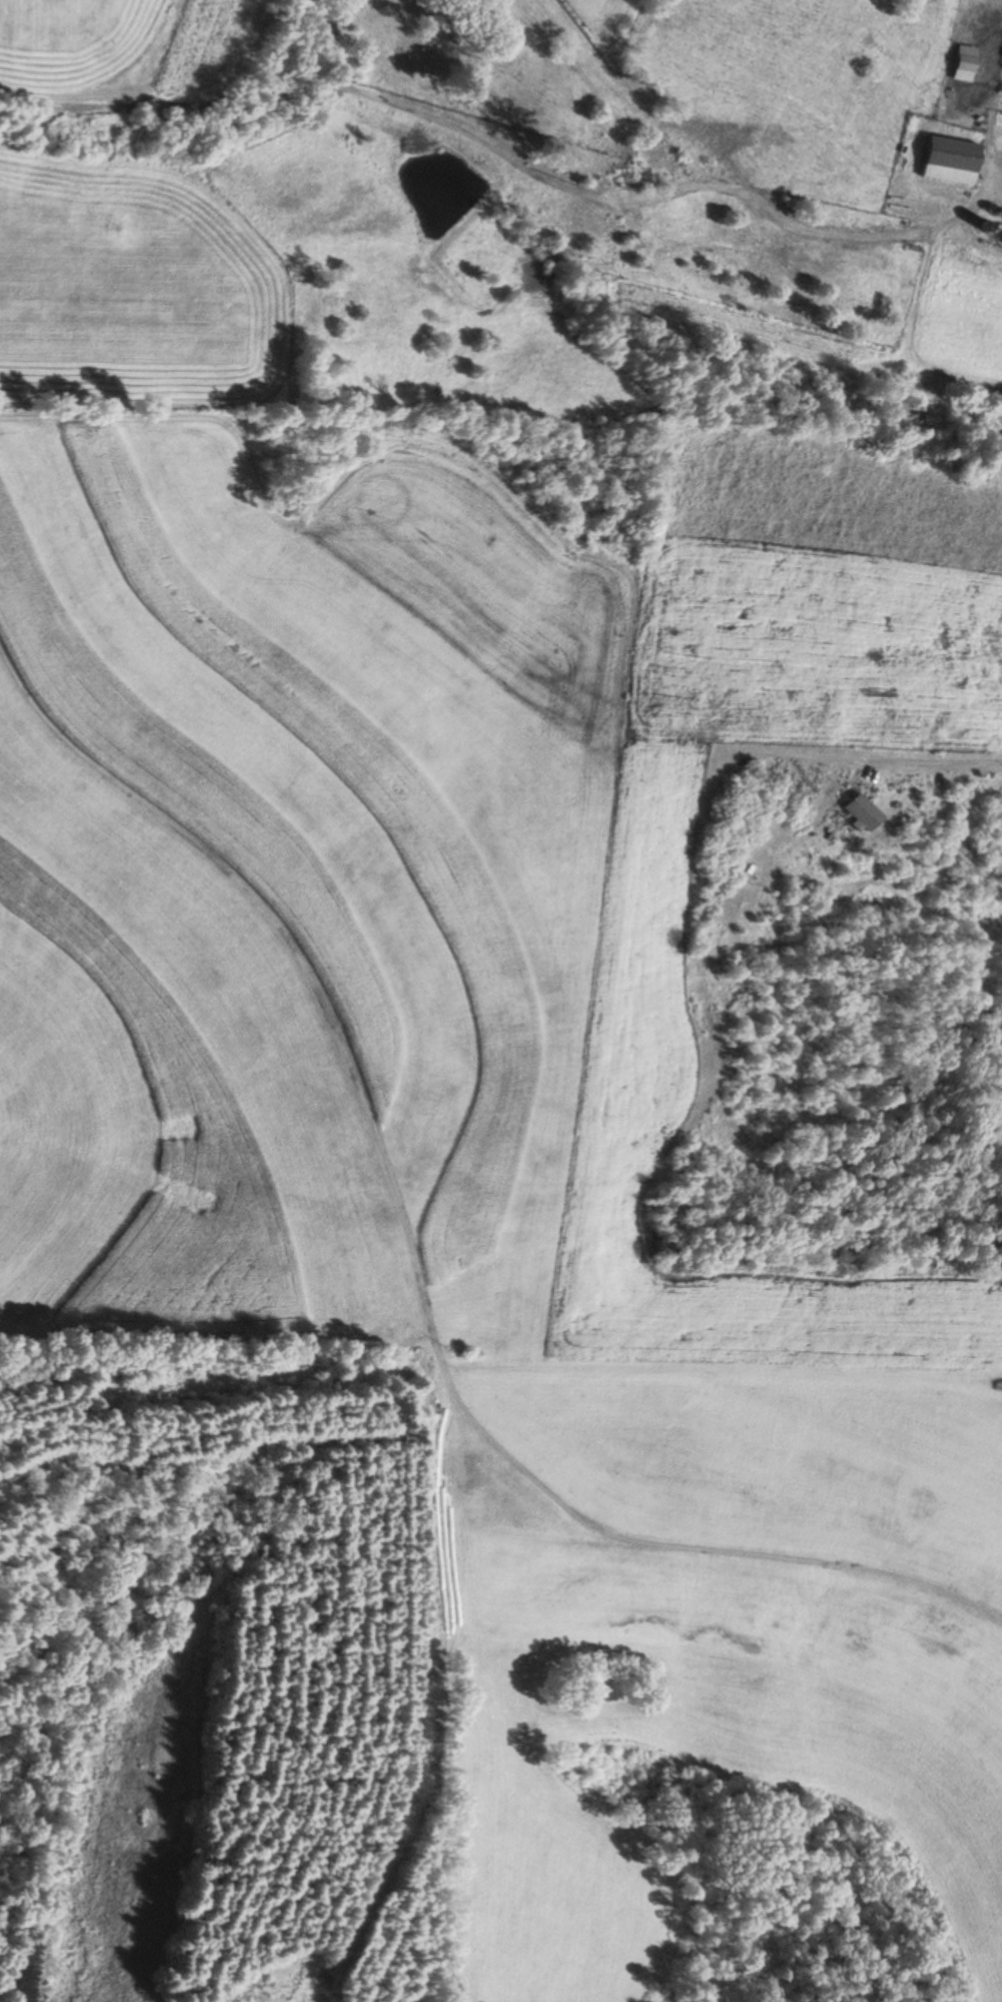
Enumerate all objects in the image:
building: (951, 155)

